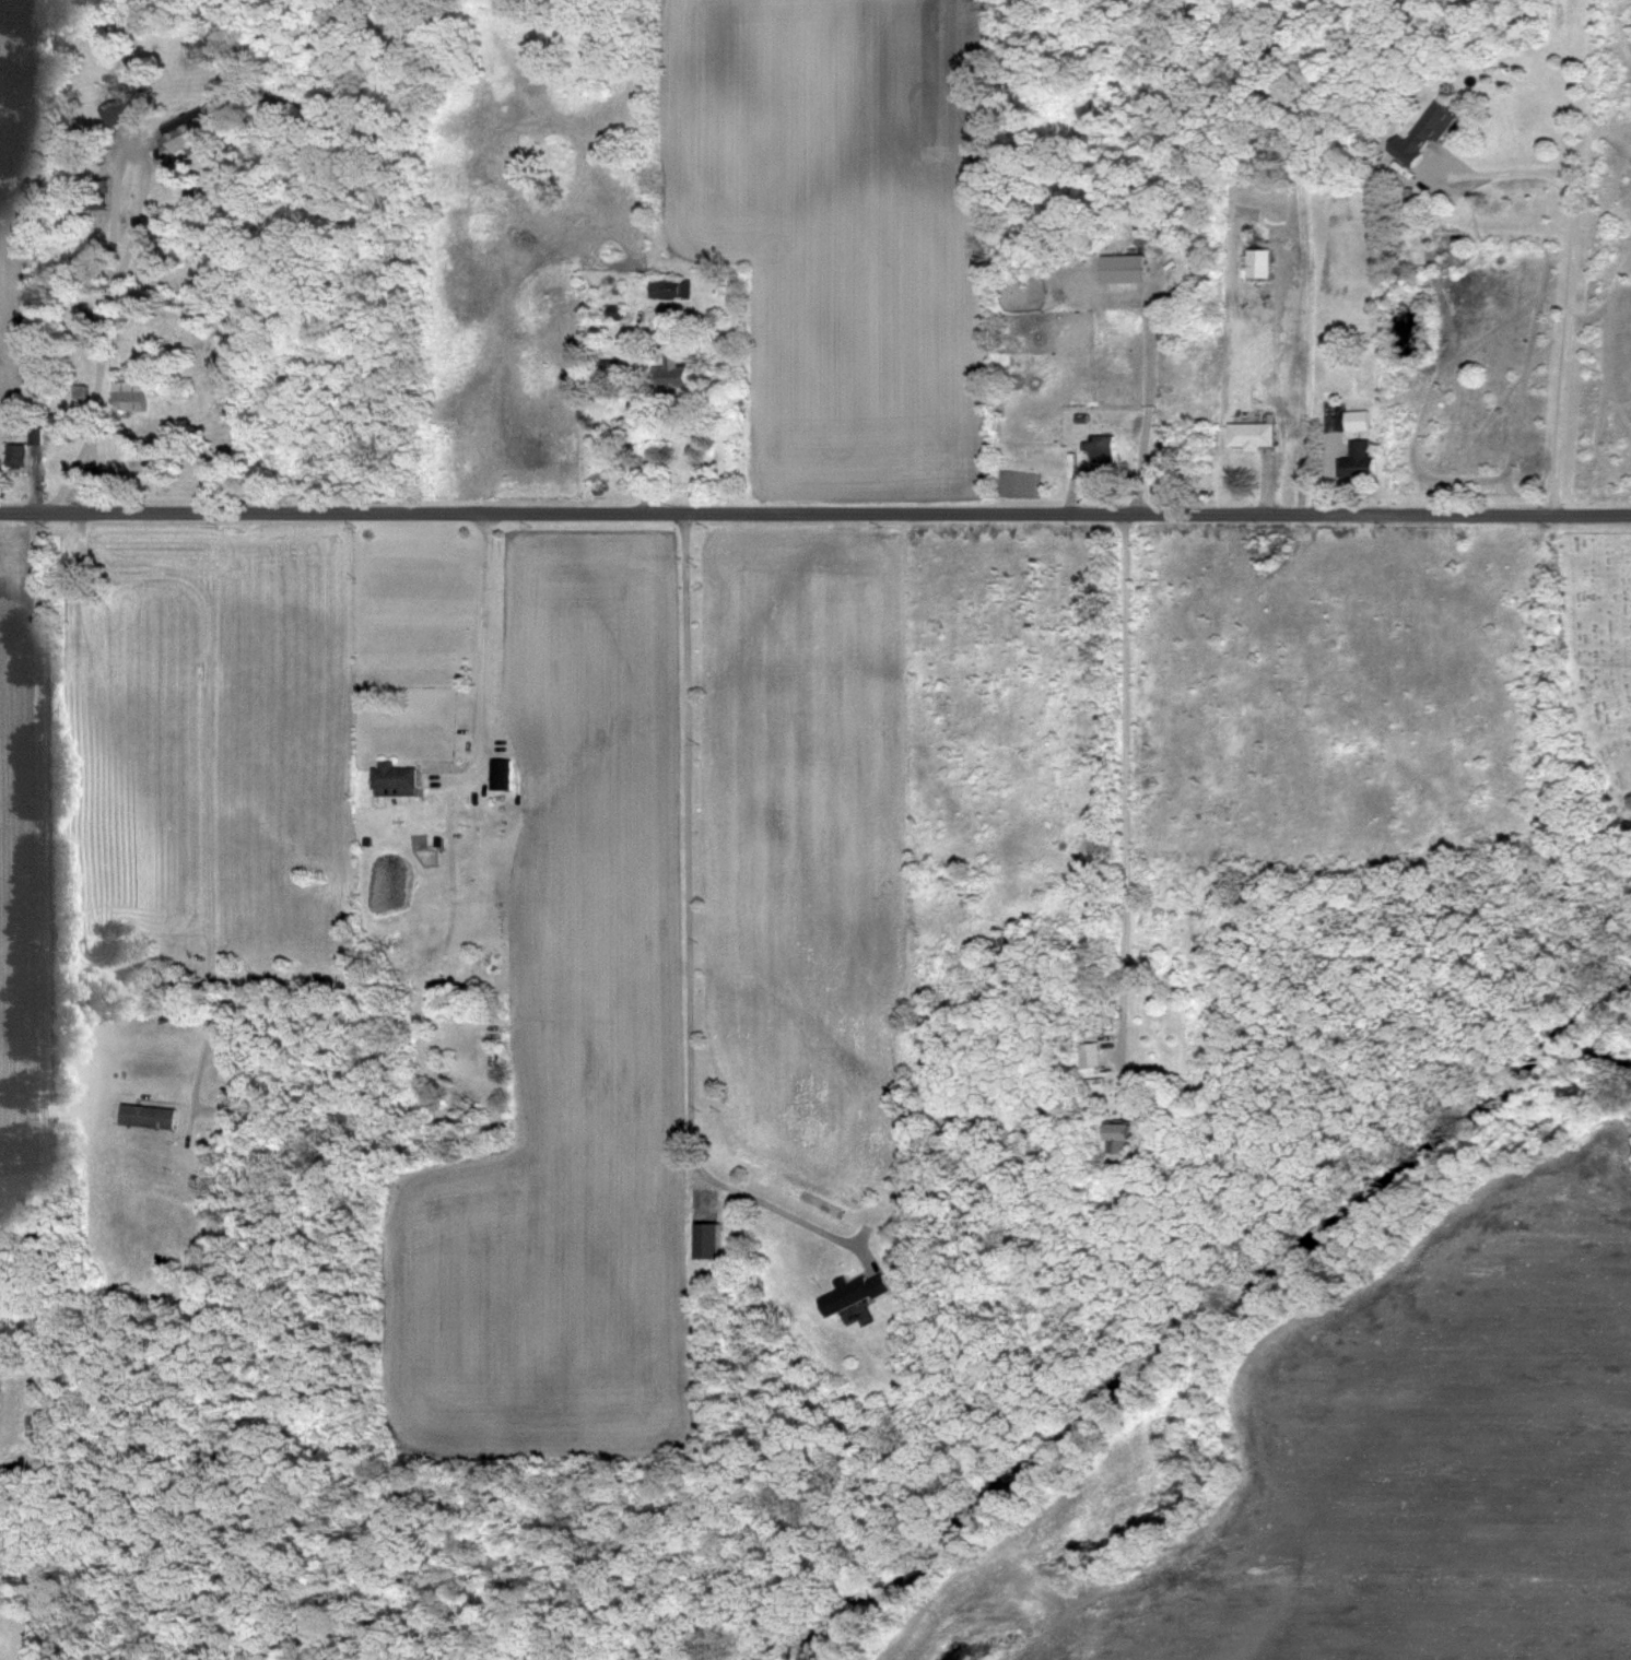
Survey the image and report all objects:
building: (118, 113)
building: (1432, 126)
building: (187, 132)
road: (124, 259)
building: (1124, 270)
road: (1569, 284)
building: (671, 289)
building: (617, 313)
building: (674, 372)
building: (129, 397)
road: (1145, 403)
building: (1358, 421)
building: (1251, 435)
building: (1102, 448)
building: (16, 456)
building: (1359, 460)
road: (95, 478)
road: (814, 517)
road: (482, 657)
road: (208, 772)
building: (503, 775)
building: (398, 779)
road: (1128, 781)
road: (39, 873)
road: (690, 940)
building: (1005, 945)
building: (1094, 1055)
building: (1161, 1108)
building: (150, 1116)
building: (1126, 1142)
road: (21, 1232)
building: (711, 1240)
road: (26, 1252)
building: (858, 1293)

